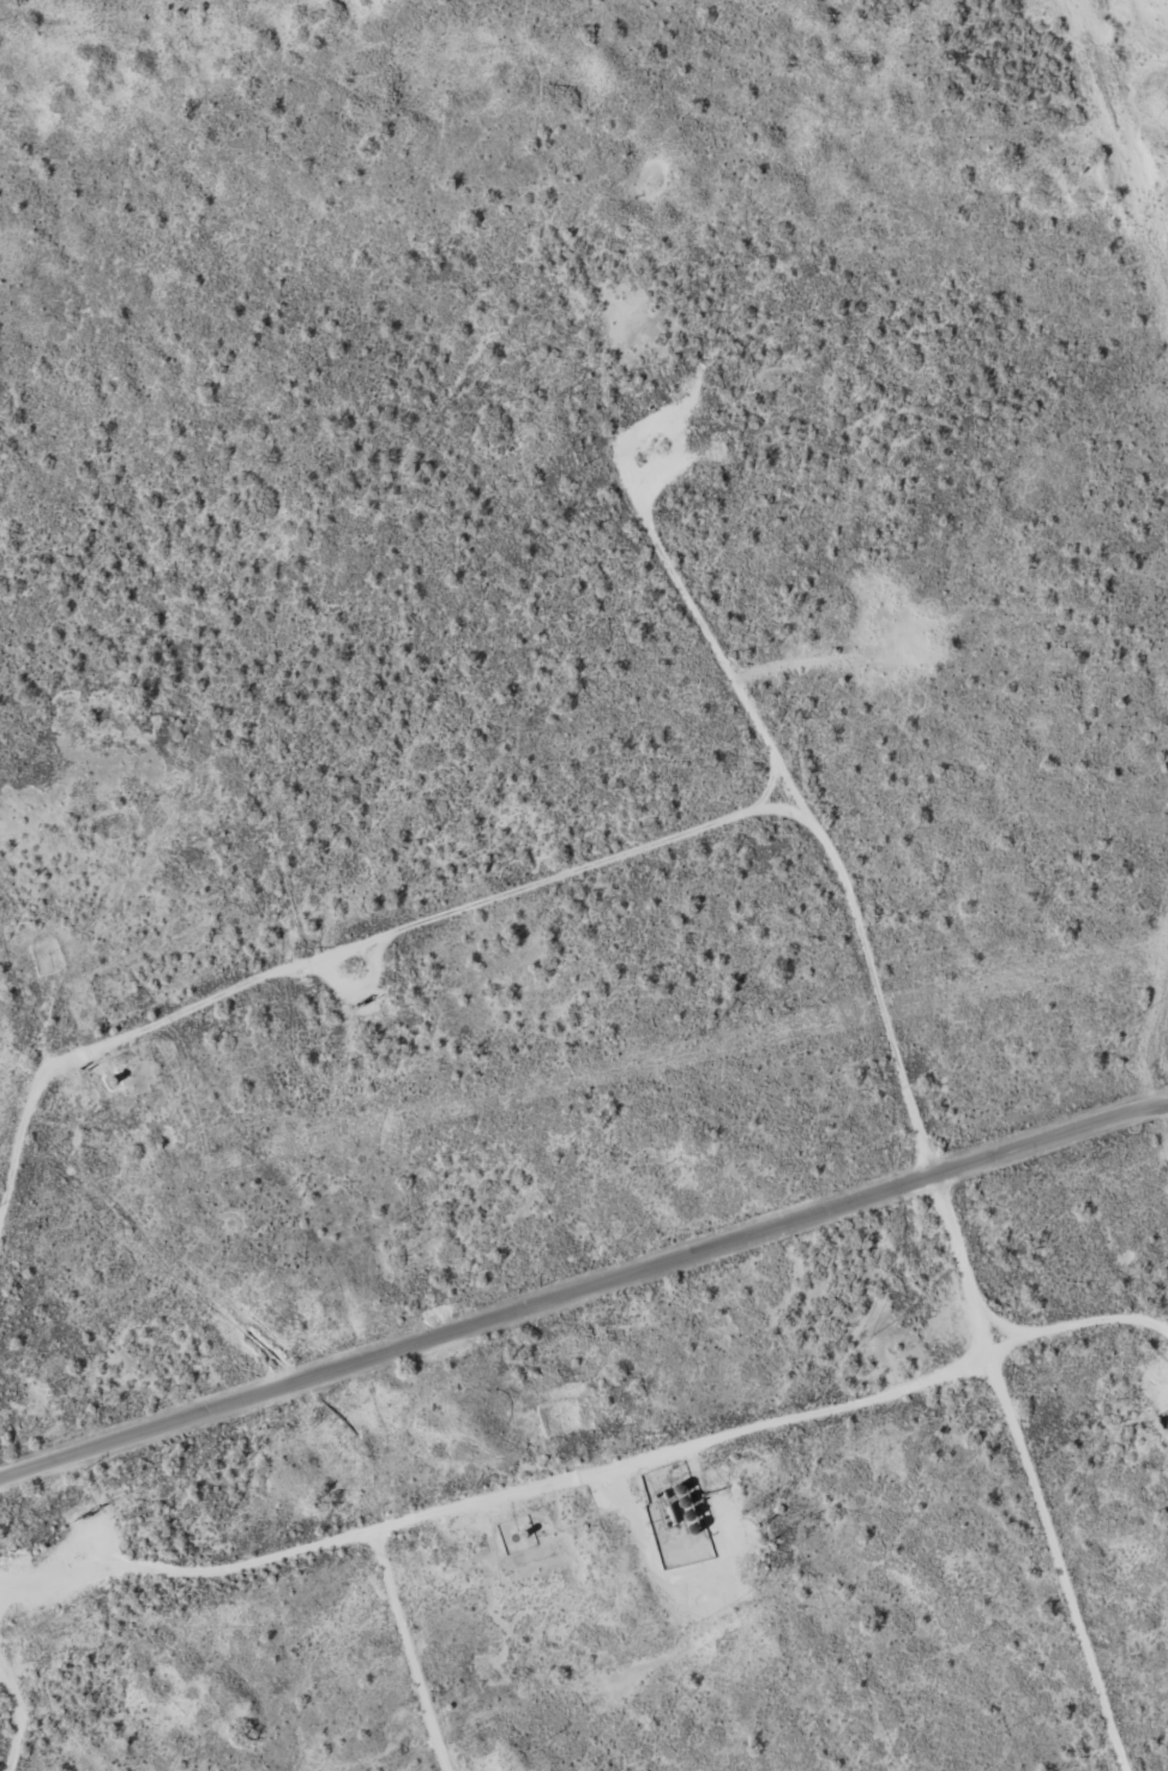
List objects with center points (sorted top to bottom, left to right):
road: (355, 977)
road: (929, 1147)
road: (584, 1291)
road: (498, 1535)

